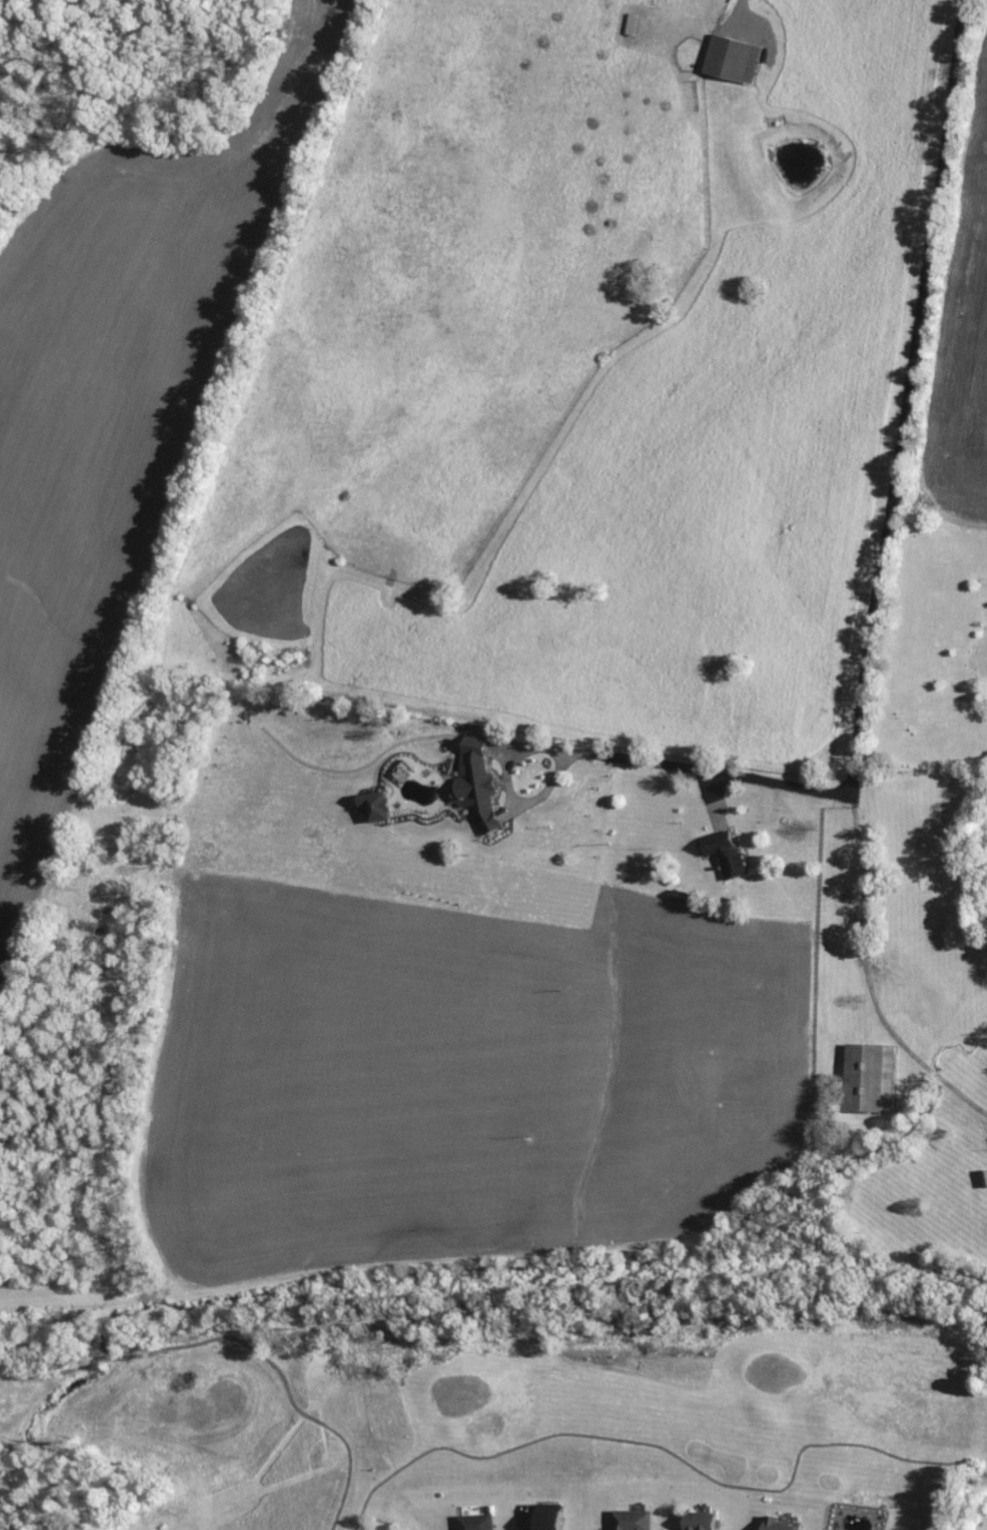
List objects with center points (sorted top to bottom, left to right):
road: (742, 3)
building: (732, 57)
road: (887, 571)
building: (477, 786)
building: (376, 805)
building: (728, 855)
road: (595, 930)
road: (868, 974)
building: (869, 1077)
road: (421, 1100)
building: (547, 1516)
building: (631, 1519)
building: (698, 1520)
building: (475, 1521)
building: (780, 1524)

